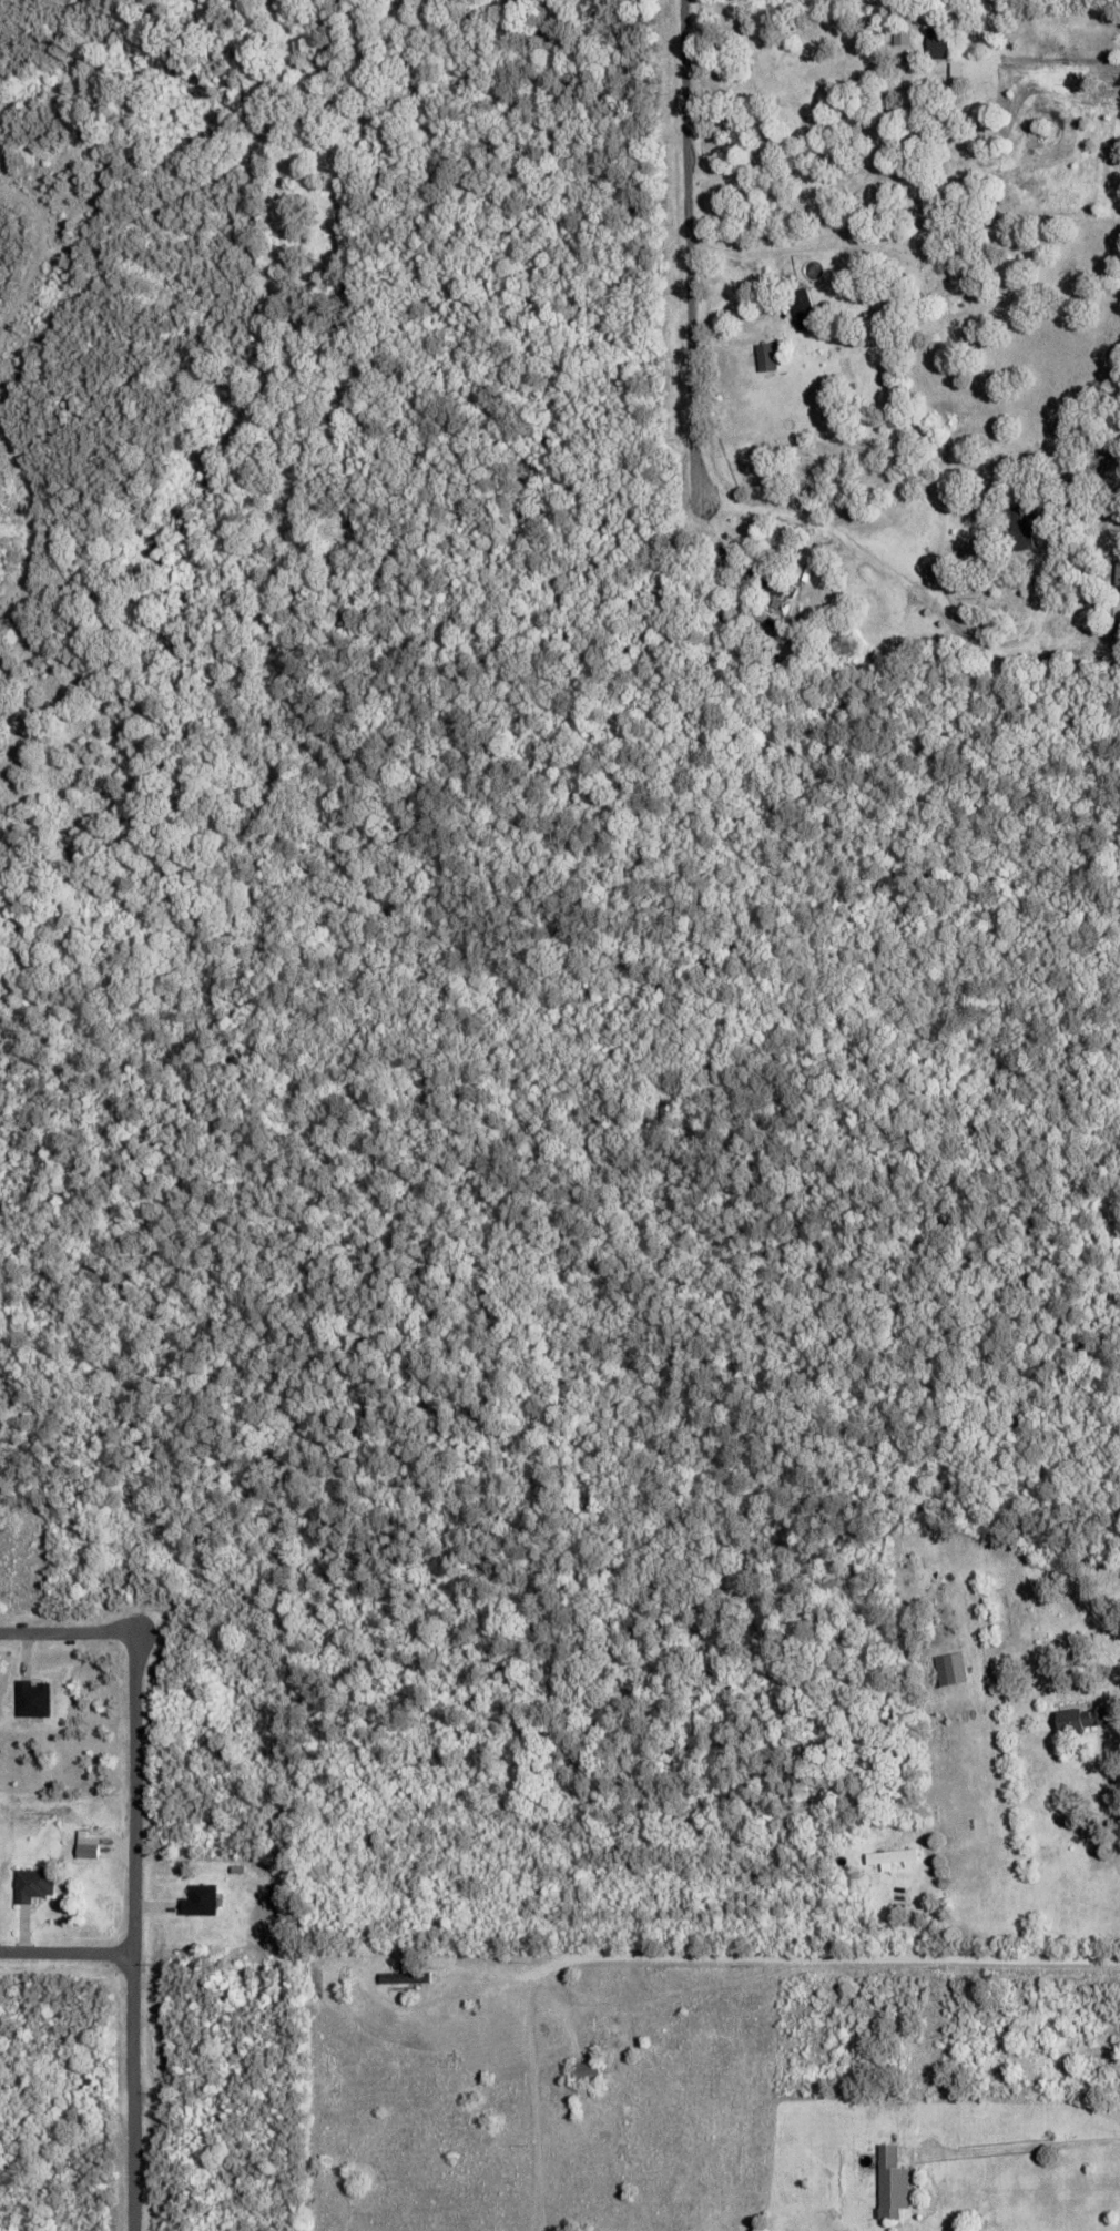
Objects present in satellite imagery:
building: (935, 44)
road: (681, 247)
building: (800, 309)
building: (762, 357)
building: (1017, 528)
building: (1116, 588)
building: (948, 1669)
building: (30, 1699)
building: (1079, 1719)
road: (132, 1732)
building: (890, 1856)
building: (31, 1884)
building: (197, 1901)
road: (65, 1953)
road: (843, 1958)
building: (404, 1977)
building: (583, 2071)
road: (131, 2092)
building: (890, 2183)

